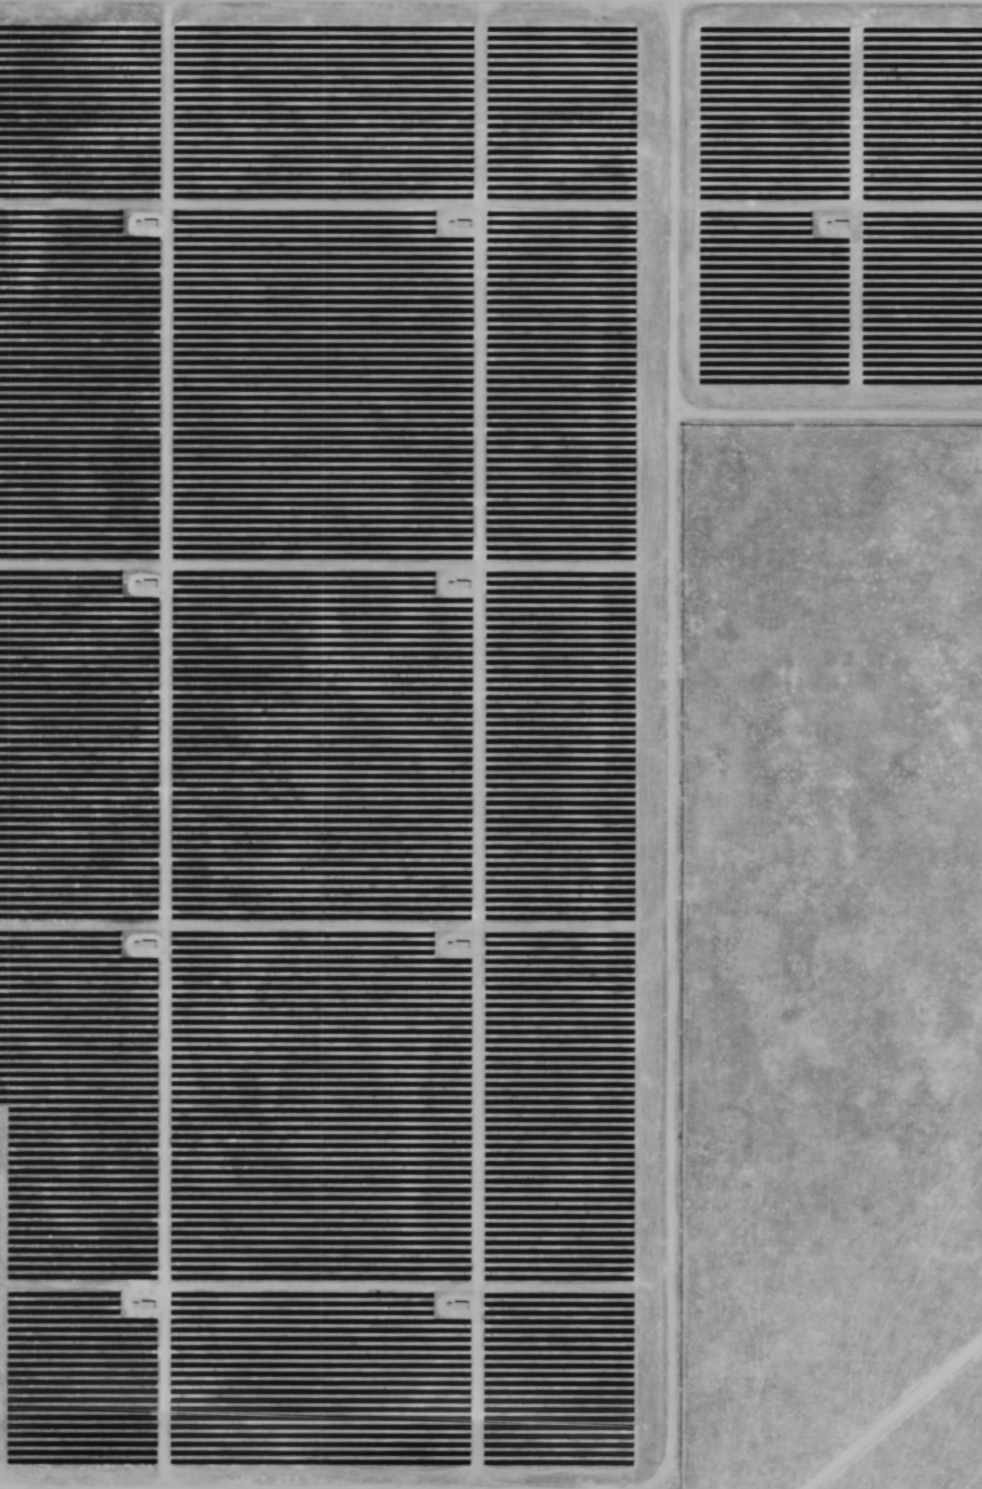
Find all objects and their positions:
road: (491, 51)
solar farm: (491, 744)

